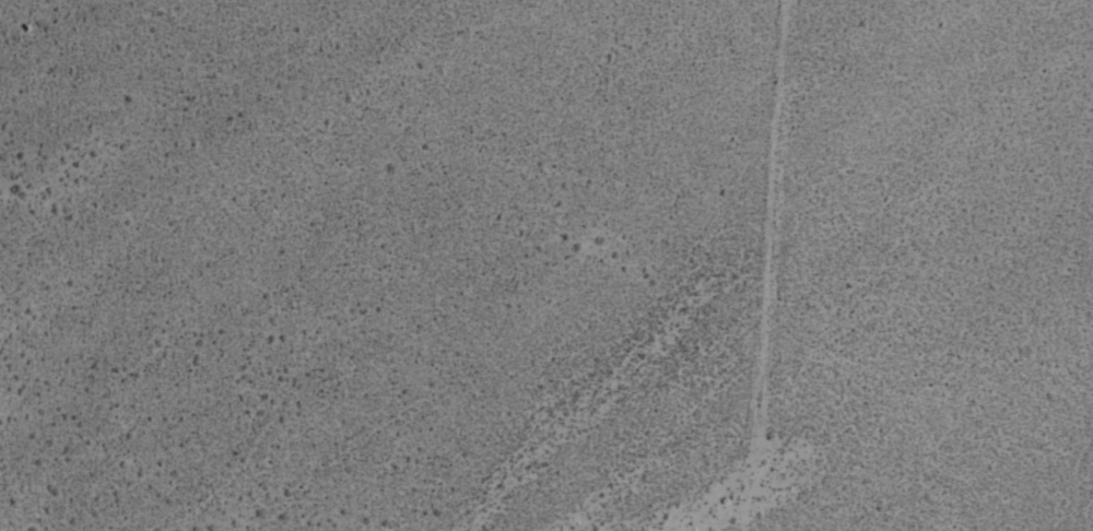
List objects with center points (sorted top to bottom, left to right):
road: (778, 217)

